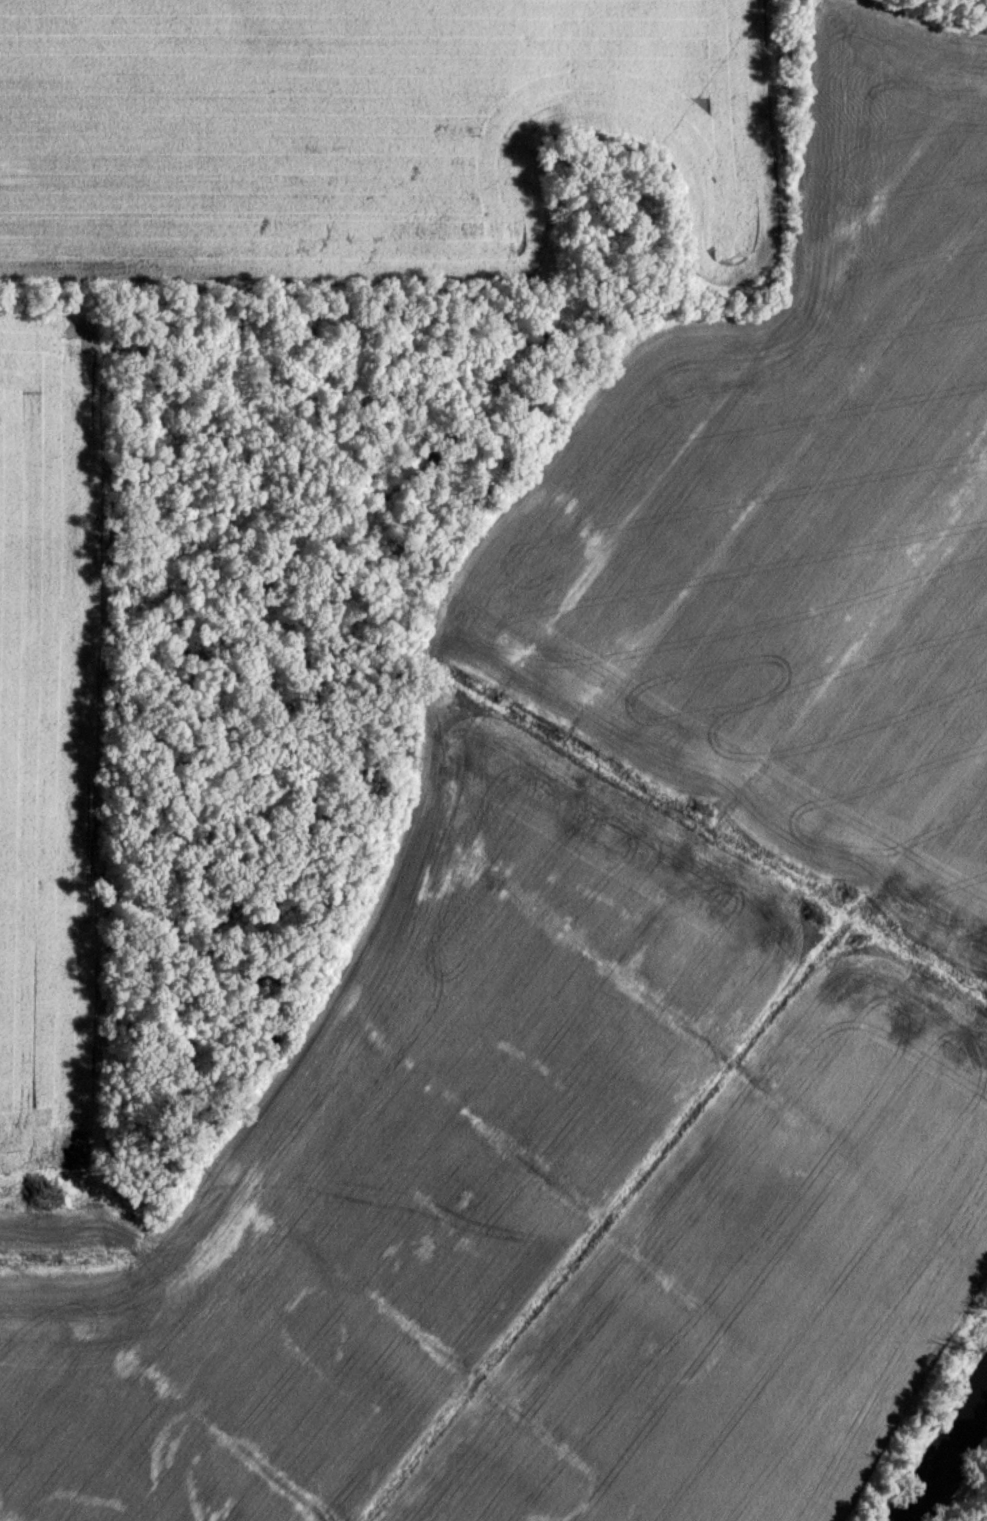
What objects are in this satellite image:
river: (950, 1455)

